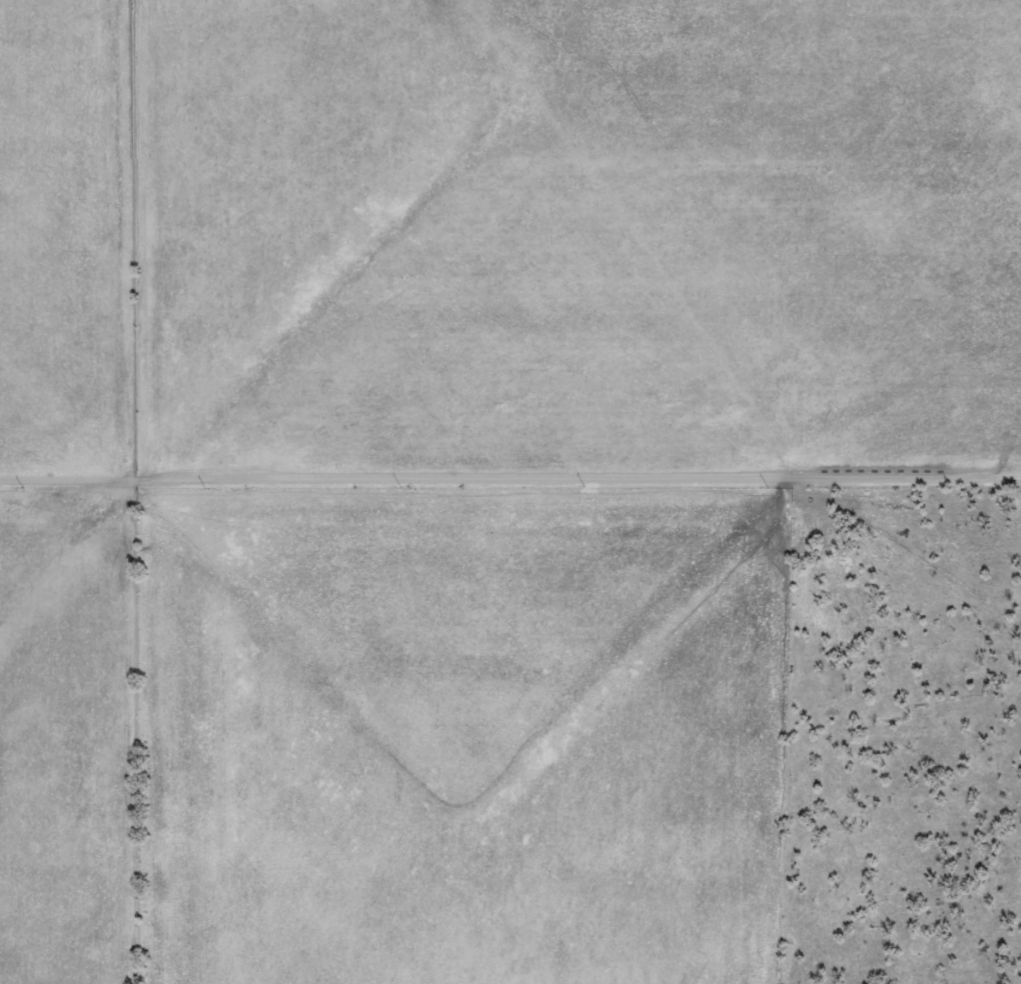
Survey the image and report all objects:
road: (510, 481)

